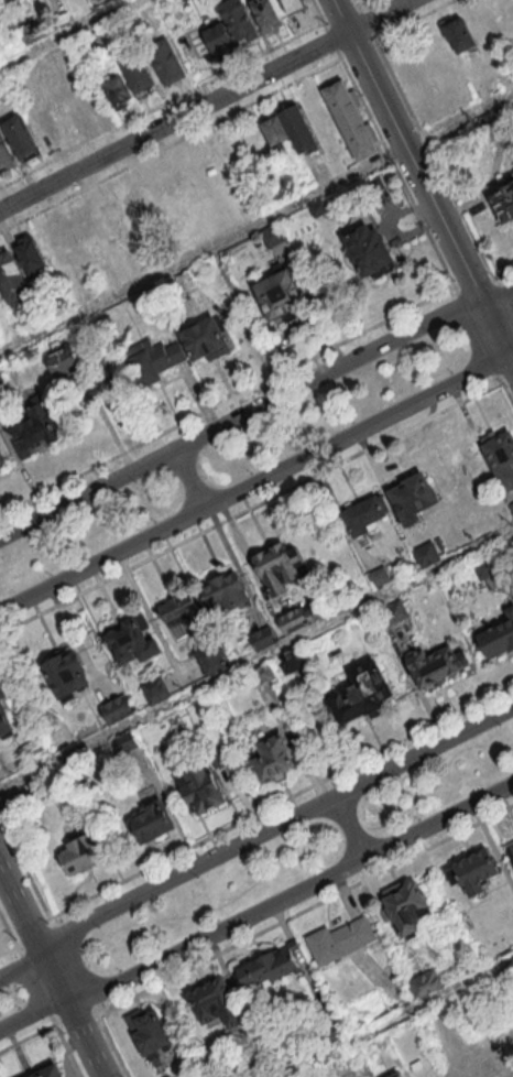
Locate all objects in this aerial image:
building: (292, 4)
building: (266, 14)
building: (240, 19)
building: (28, 32)
building: (458, 32)
road: (68, 35)
building: (218, 36)
building: (95, 39)
building: (195, 52)
building: (165, 59)
building: (138, 73)
building: (117, 91)
road: (204, 104)
building: (69, 117)
building: (350, 119)
building: (44, 124)
building: (274, 129)
building: (297, 129)
building: (20, 135)
building: (4, 153)
building: (373, 183)
road: (421, 184)
building: (161, 194)
building: (131, 199)
building: (503, 204)
building: (318, 207)
road: (256, 225)
building: (271, 235)
building: (54, 239)
building: (367, 246)
building: (29, 255)
building: (11, 278)
building: (280, 294)
building: (206, 336)
building: (61, 359)
building: (144, 362)
road: (253, 406)
building: (34, 429)
building: (500, 455)
building: (1, 458)
road: (189, 478)
road: (258, 480)
building: (412, 496)
building: (511, 503)
building: (365, 513)
building: (425, 554)
building: (279, 566)
building: (484, 567)
building: (379, 576)
building: (225, 592)
building: (393, 610)
building: (179, 612)
building: (298, 617)
building: (498, 635)
building: (132, 638)
building: (263, 638)
building: (210, 656)
building: (291, 659)
road: (256, 661)
building: (434, 663)
building: (67, 674)
building: (261, 674)
building: (154, 688)
building: (361, 692)
building: (117, 708)
building: (4, 712)
building: (124, 740)
building: (274, 757)
building: (203, 781)
building: (151, 820)
road: (273, 825)
road: (349, 826)
building: (509, 851)
building: (80, 856)
building: (473, 870)
road: (288, 894)
building: (404, 905)
road: (21, 915)
road: (8, 931)
building: (338, 939)
road: (8, 950)
building: (269, 965)
road: (21, 967)
road: (52, 977)
building: (425, 982)
building: (216, 1000)
road: (31, 1011)
building: (432, 1015)
road: (396, 1019)
building: (148, 1032)
building: (330, 1032)
road: (80, 1036)
road: (28, 1040)
building: (462, 1060)
building: (48, 1070)
building: (396, 1074)

